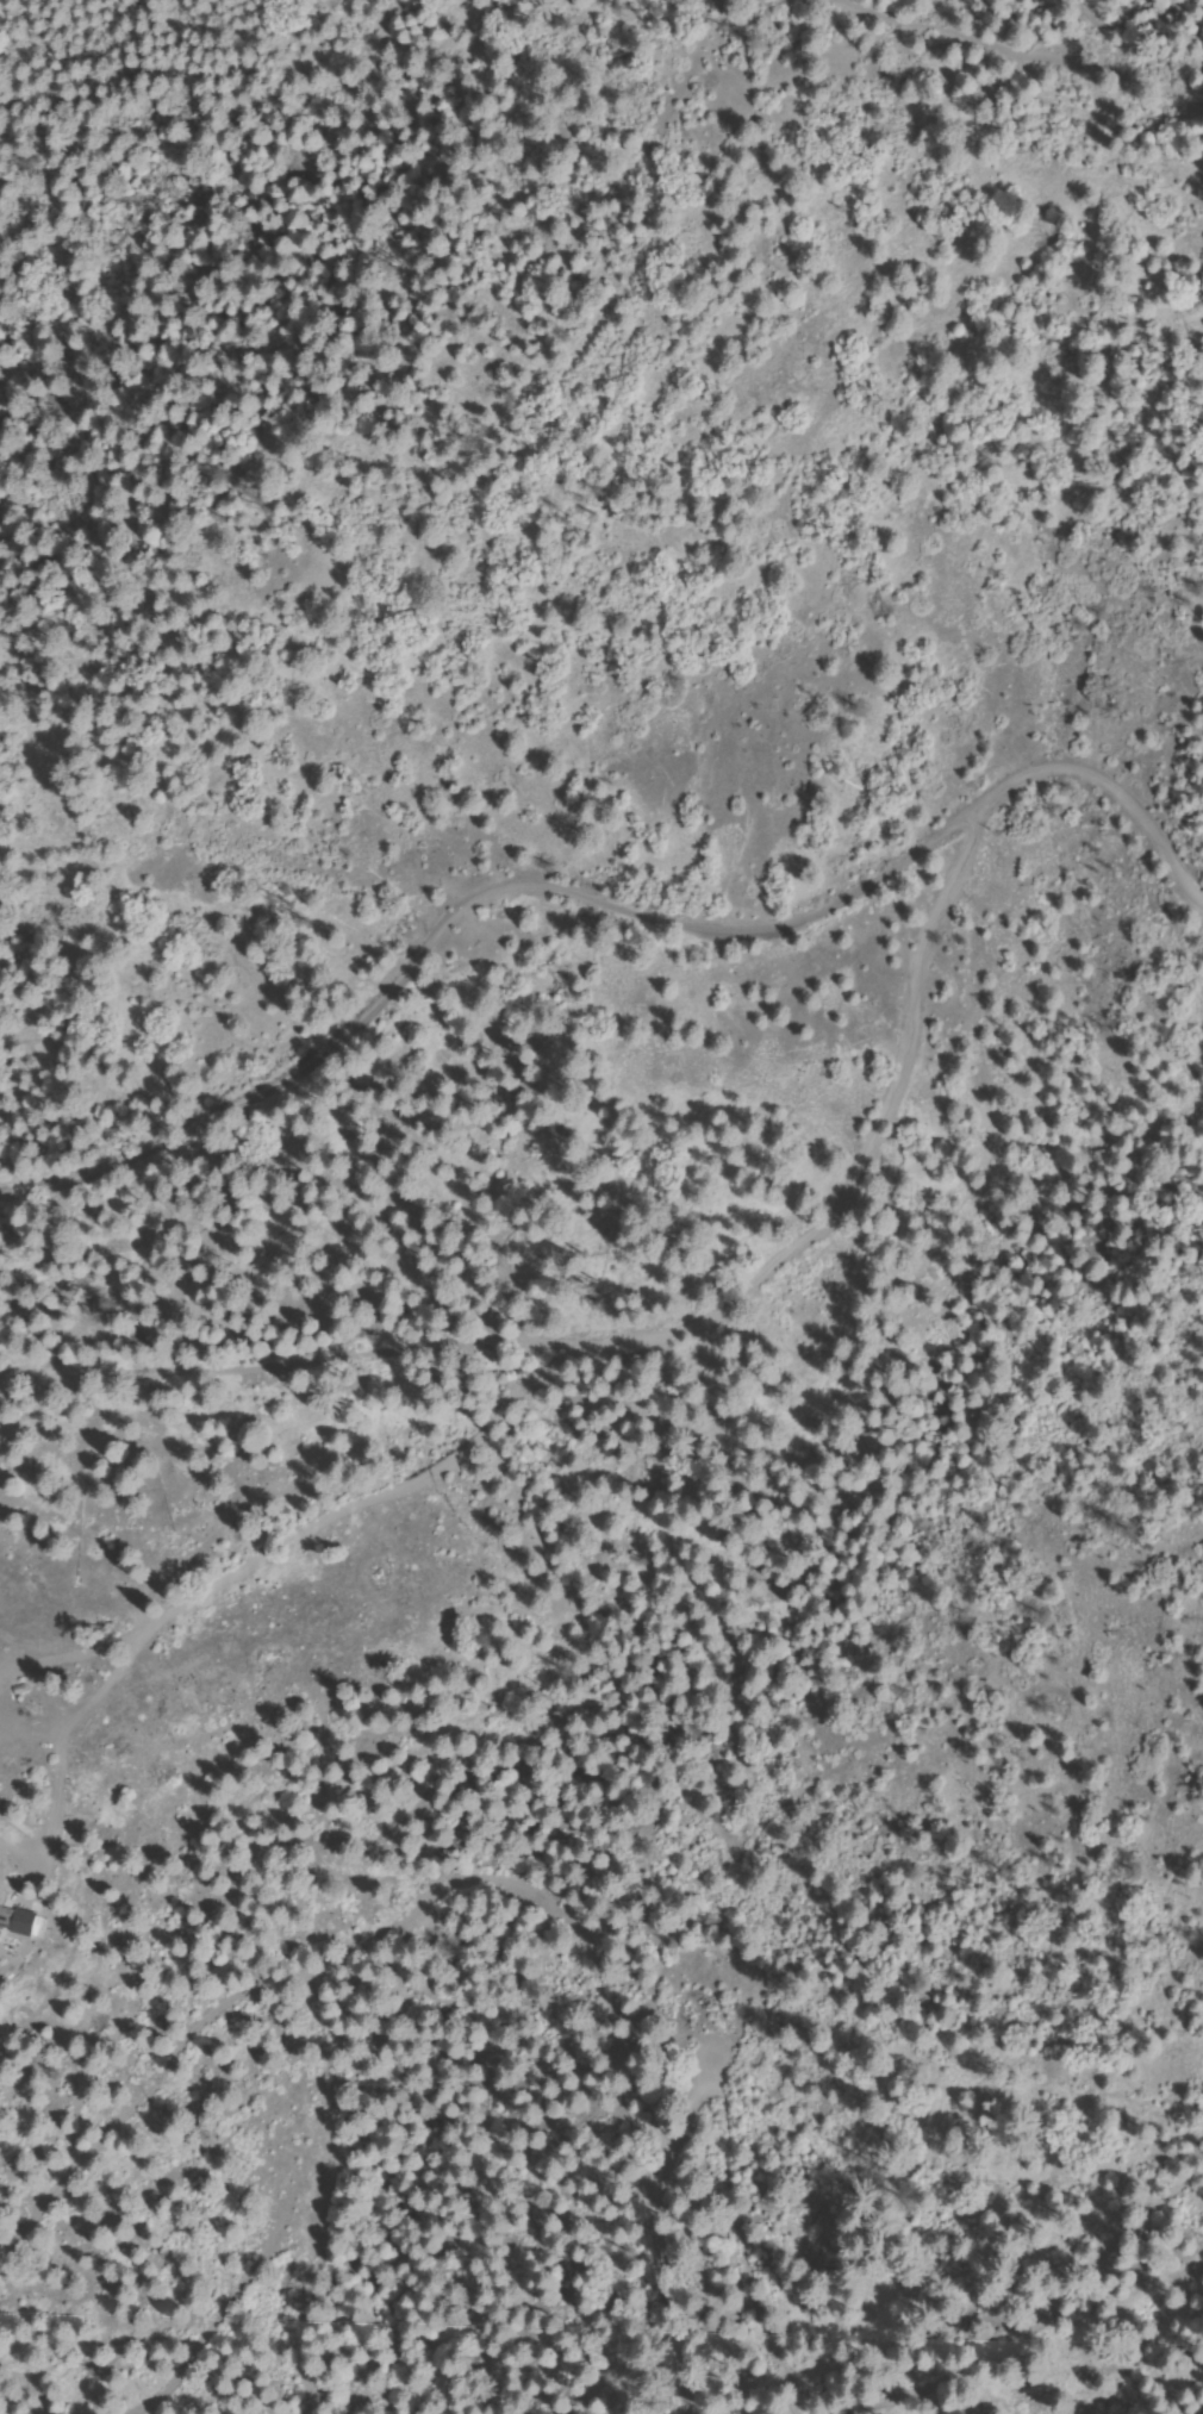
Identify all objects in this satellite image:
road: (1022, 93)
road: (594, 898)
road: (841, 1845)
building: (5, 1917)
building: (20, 1922)

